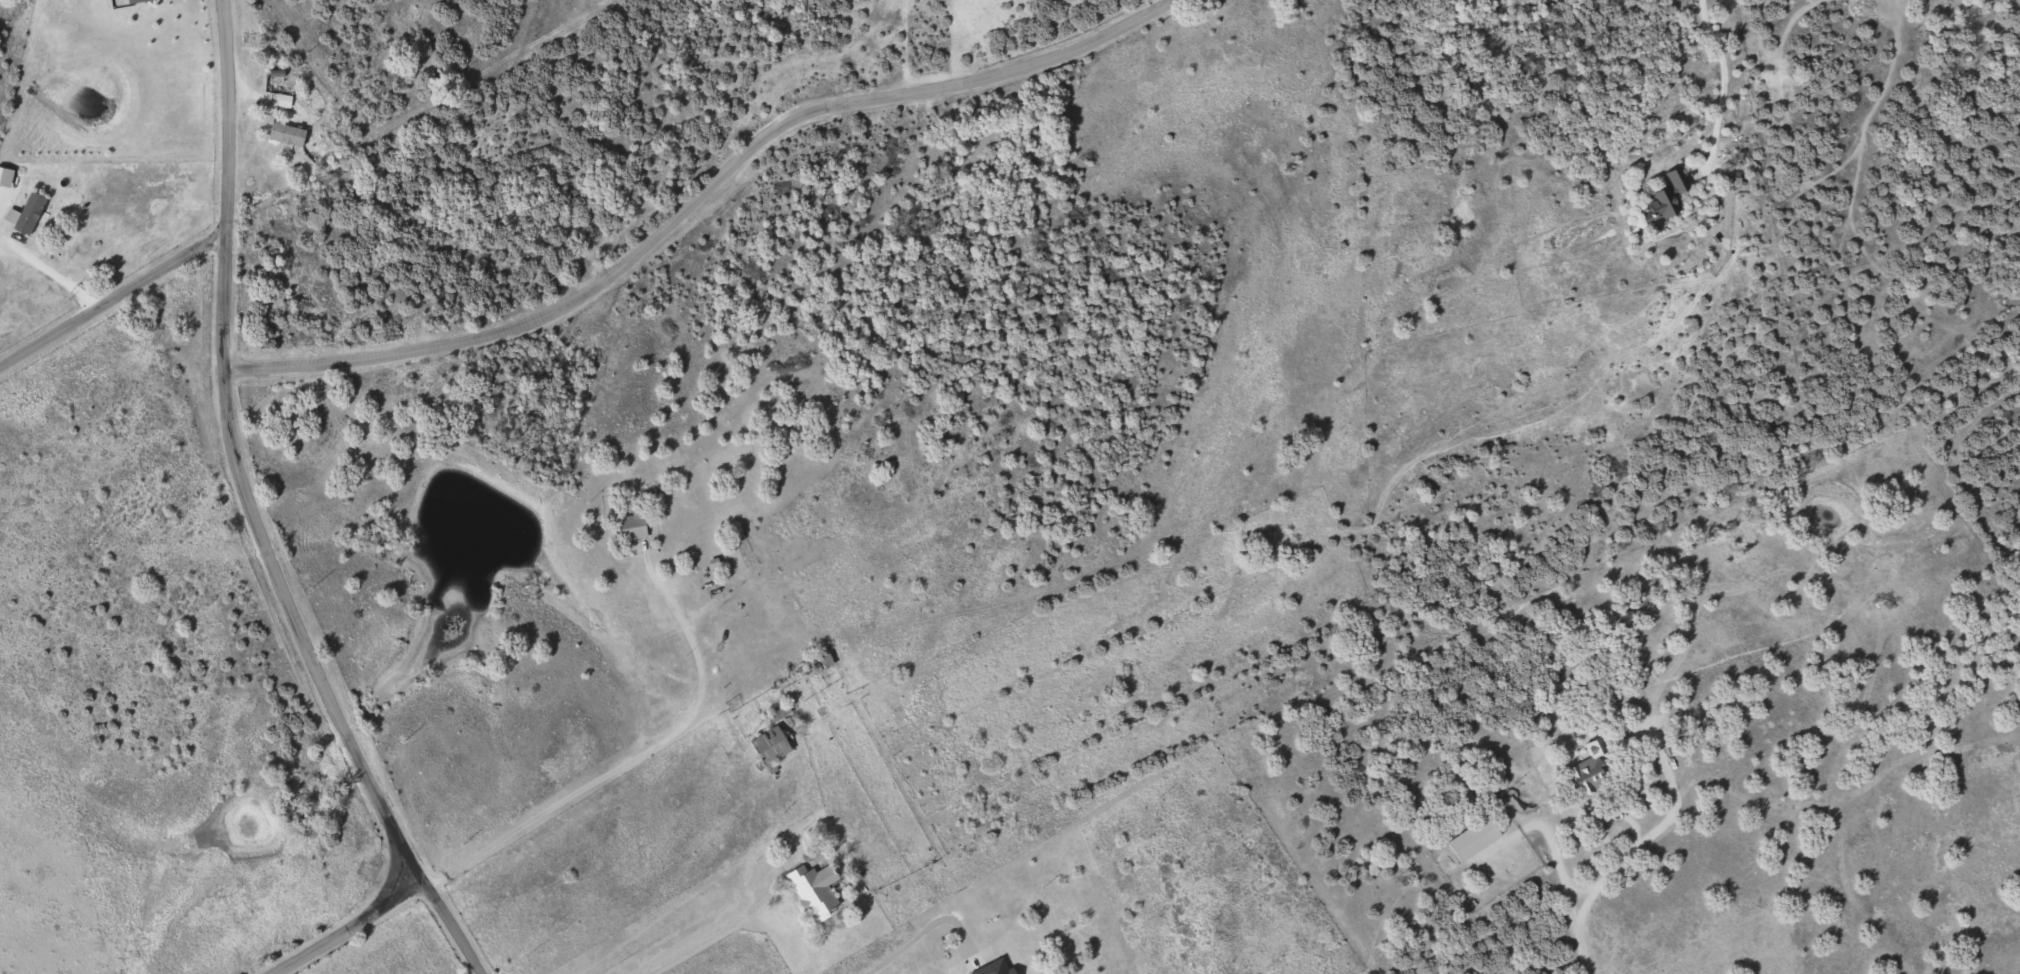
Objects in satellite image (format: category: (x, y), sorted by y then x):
building: (141, 1)
road: (1159, 5)
road: (1691, 20)
road: (906, 47)
building: (289, 135)
road: (700, 196)
building: (1668, 198)
building: (28, 214)
road: (1449, 235)
road: (1836, 265)
road: (112, 302)
road: (249, 512)
building: (634, 527)
building: (824, 661)
building: (773, 749)
road: (625, 764)
building: (1592, 770)
road: (1653, 833)
building: (1476, 839)
building: (817, 890)
road: (1578, 925)
road: (351, 929)

